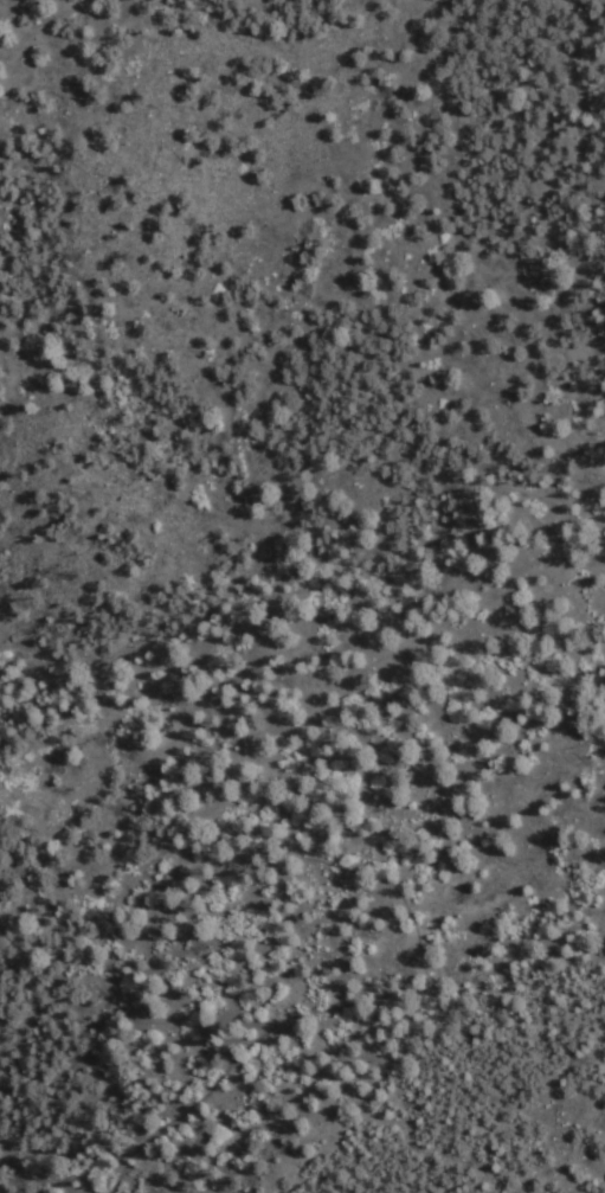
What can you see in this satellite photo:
road: (481, 481)
road: (244, 748)
road: (604, 1011)
road: (202, 1142)

